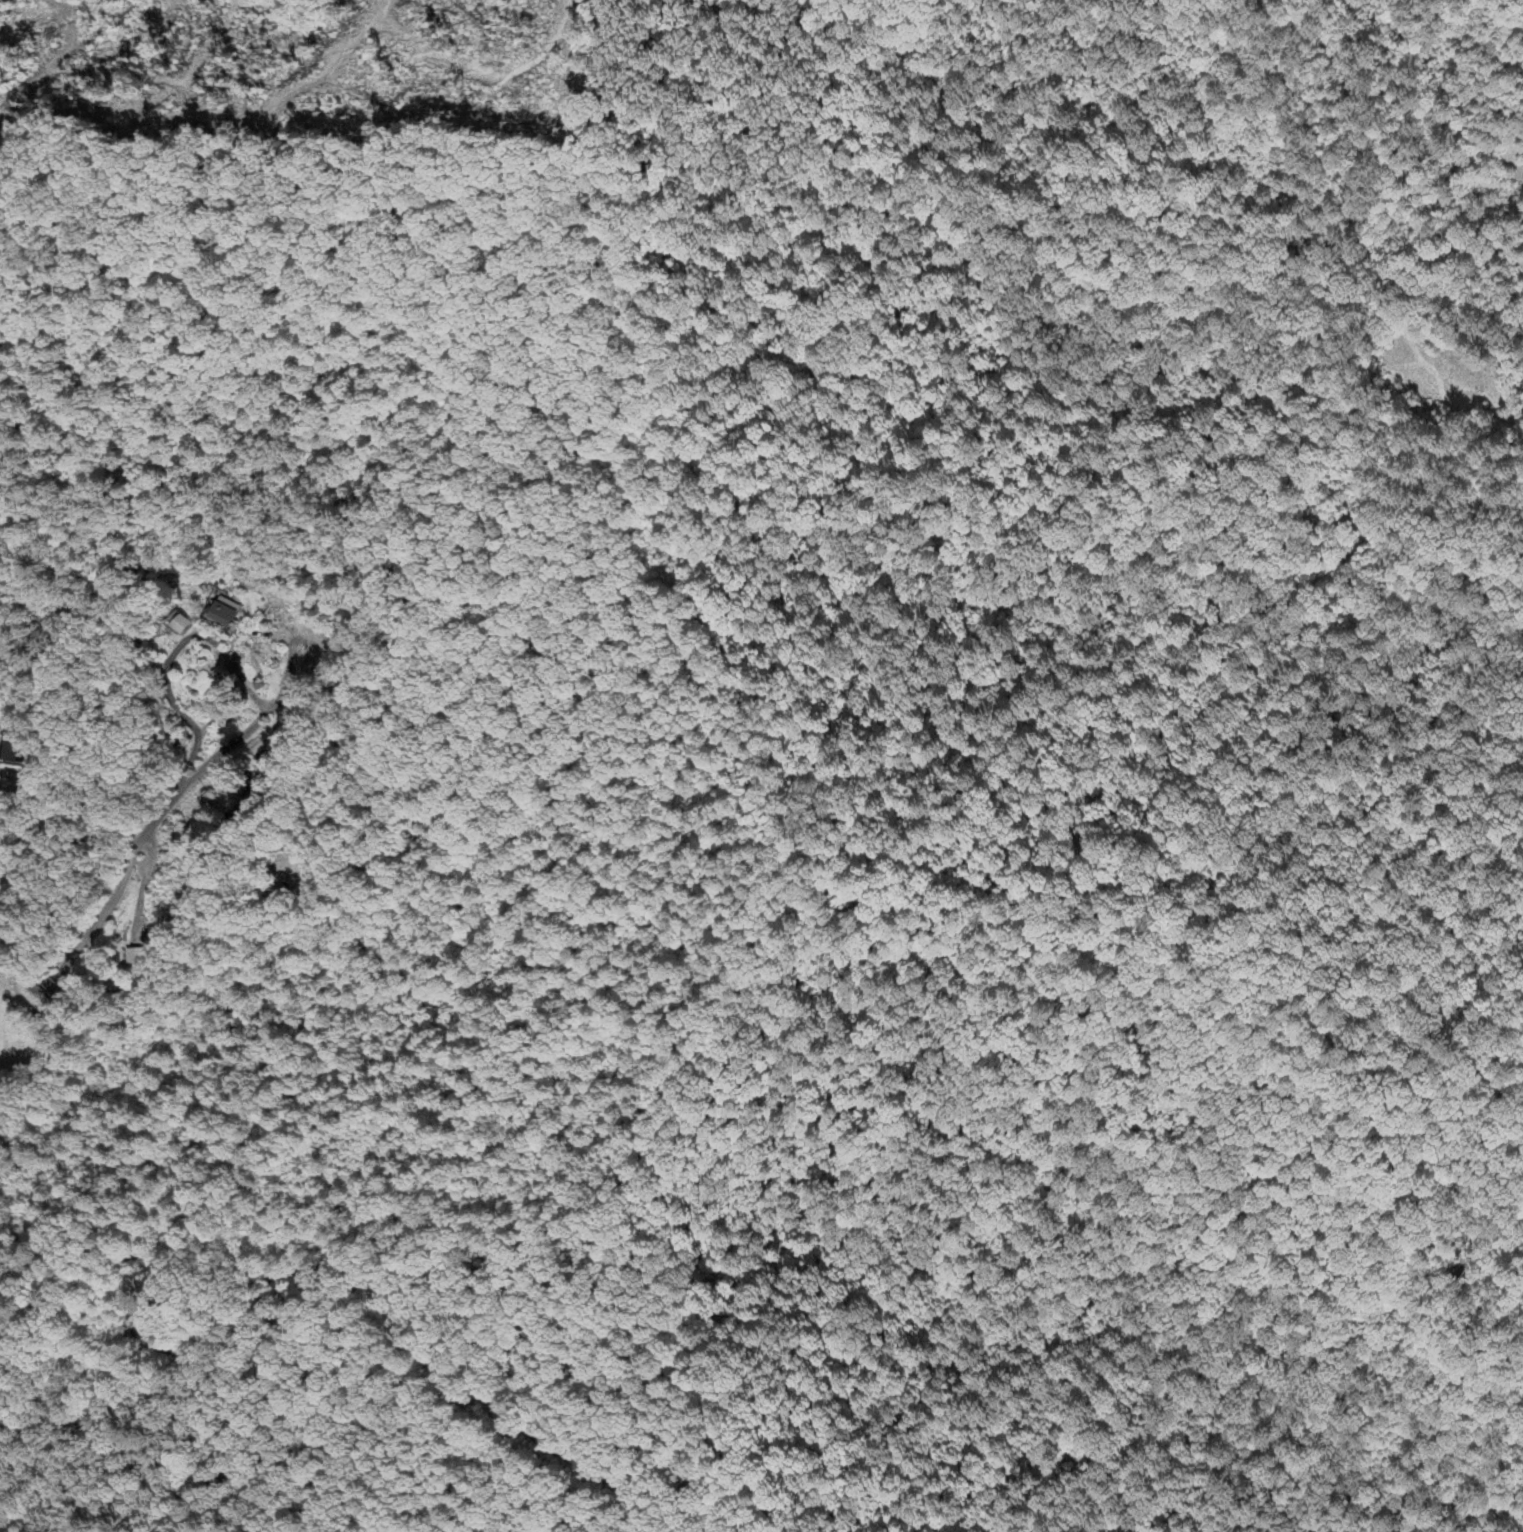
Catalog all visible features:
building: (220, 612)
building: (179, 624)
building: (10, 747)
road: (121, 884)

